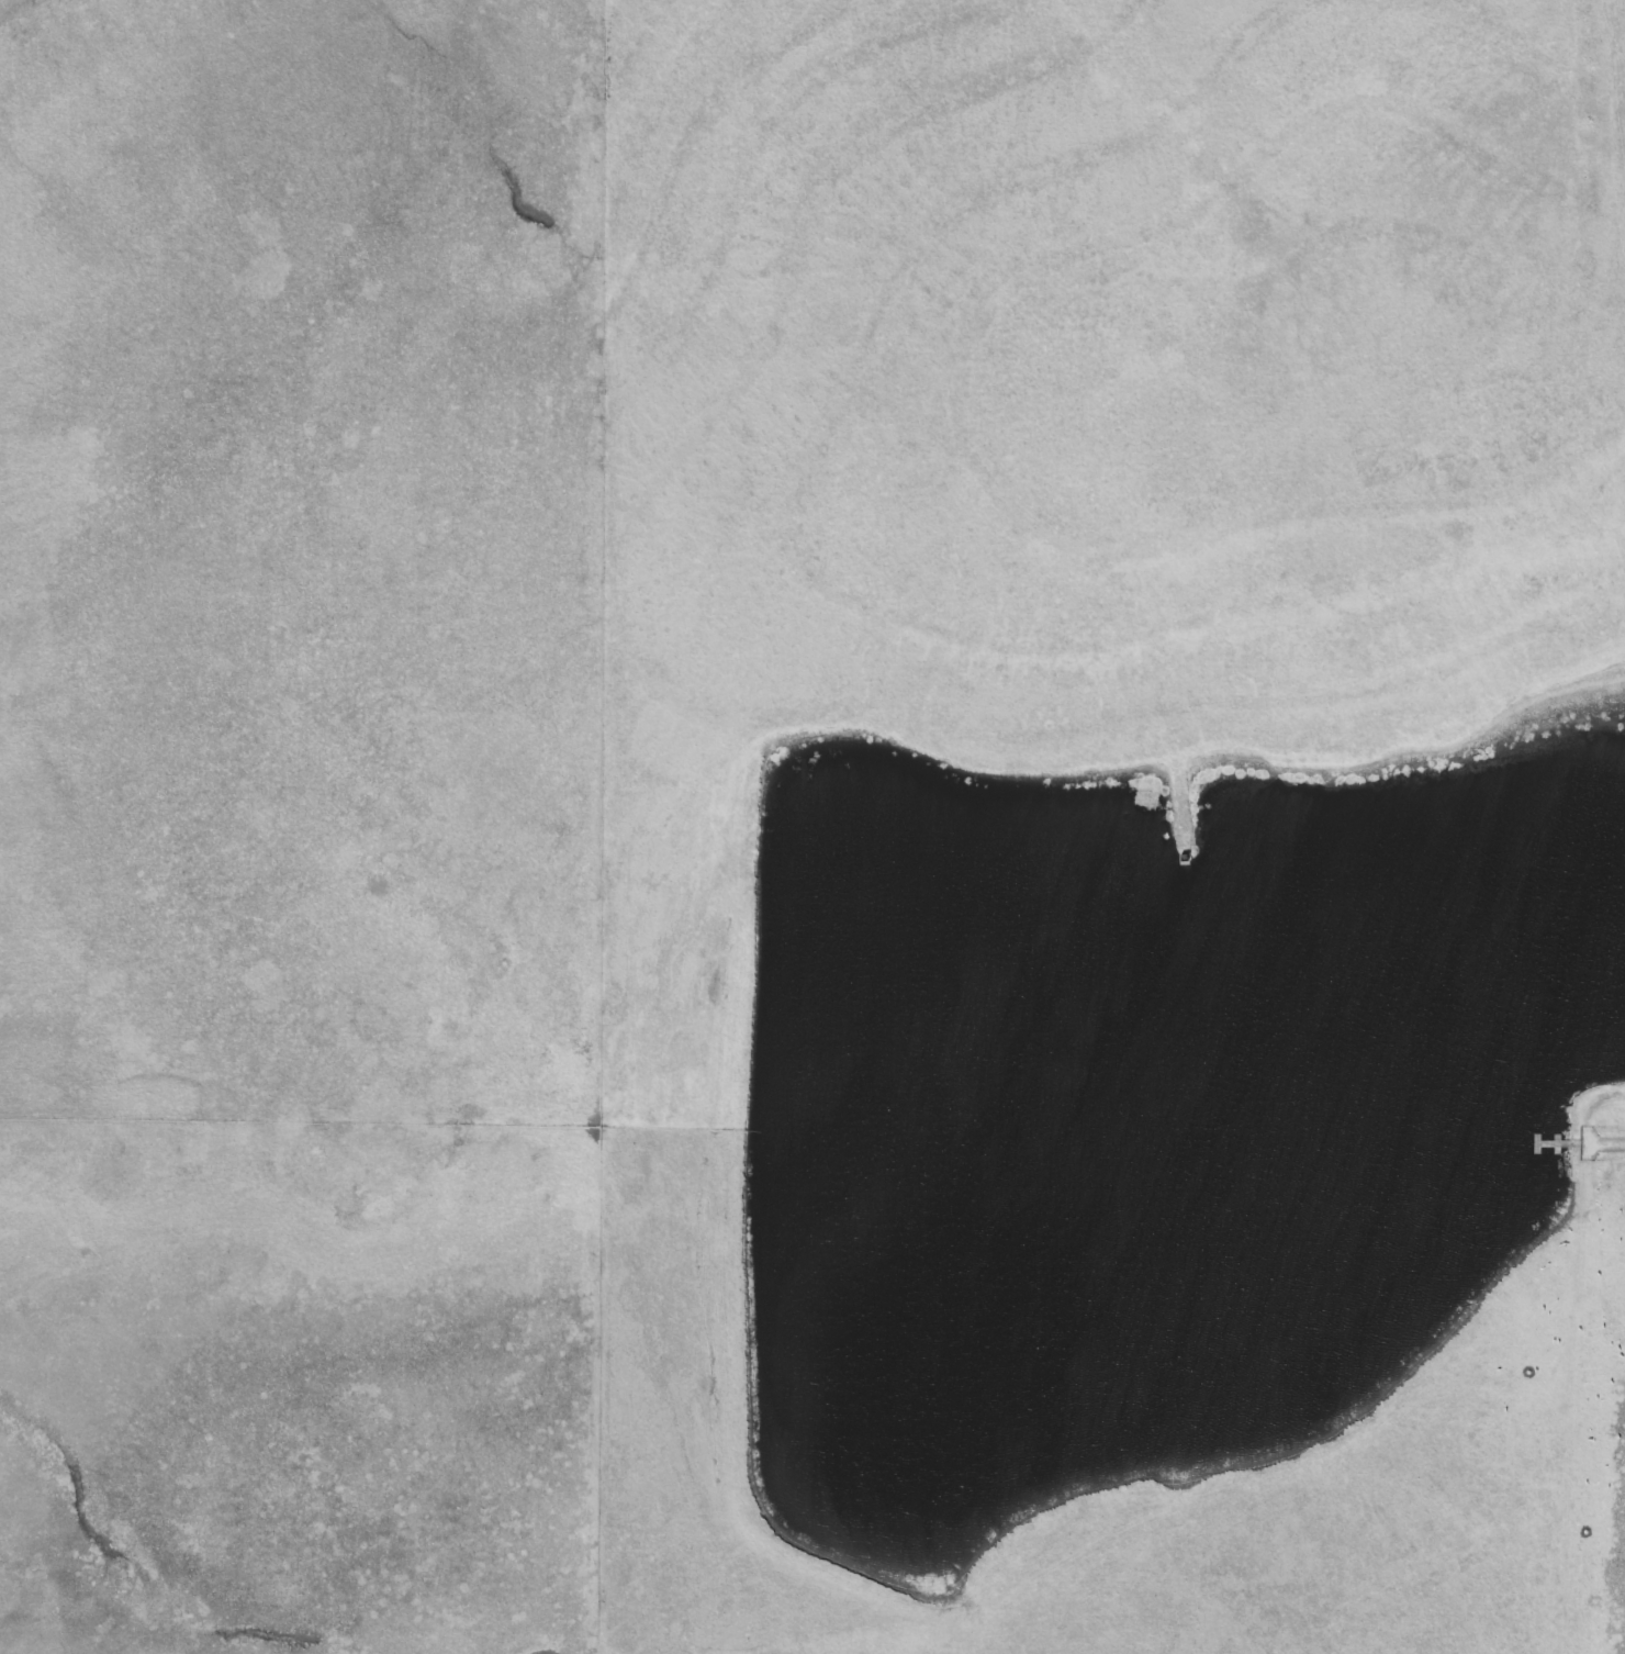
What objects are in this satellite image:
road: (1604, 1141)

